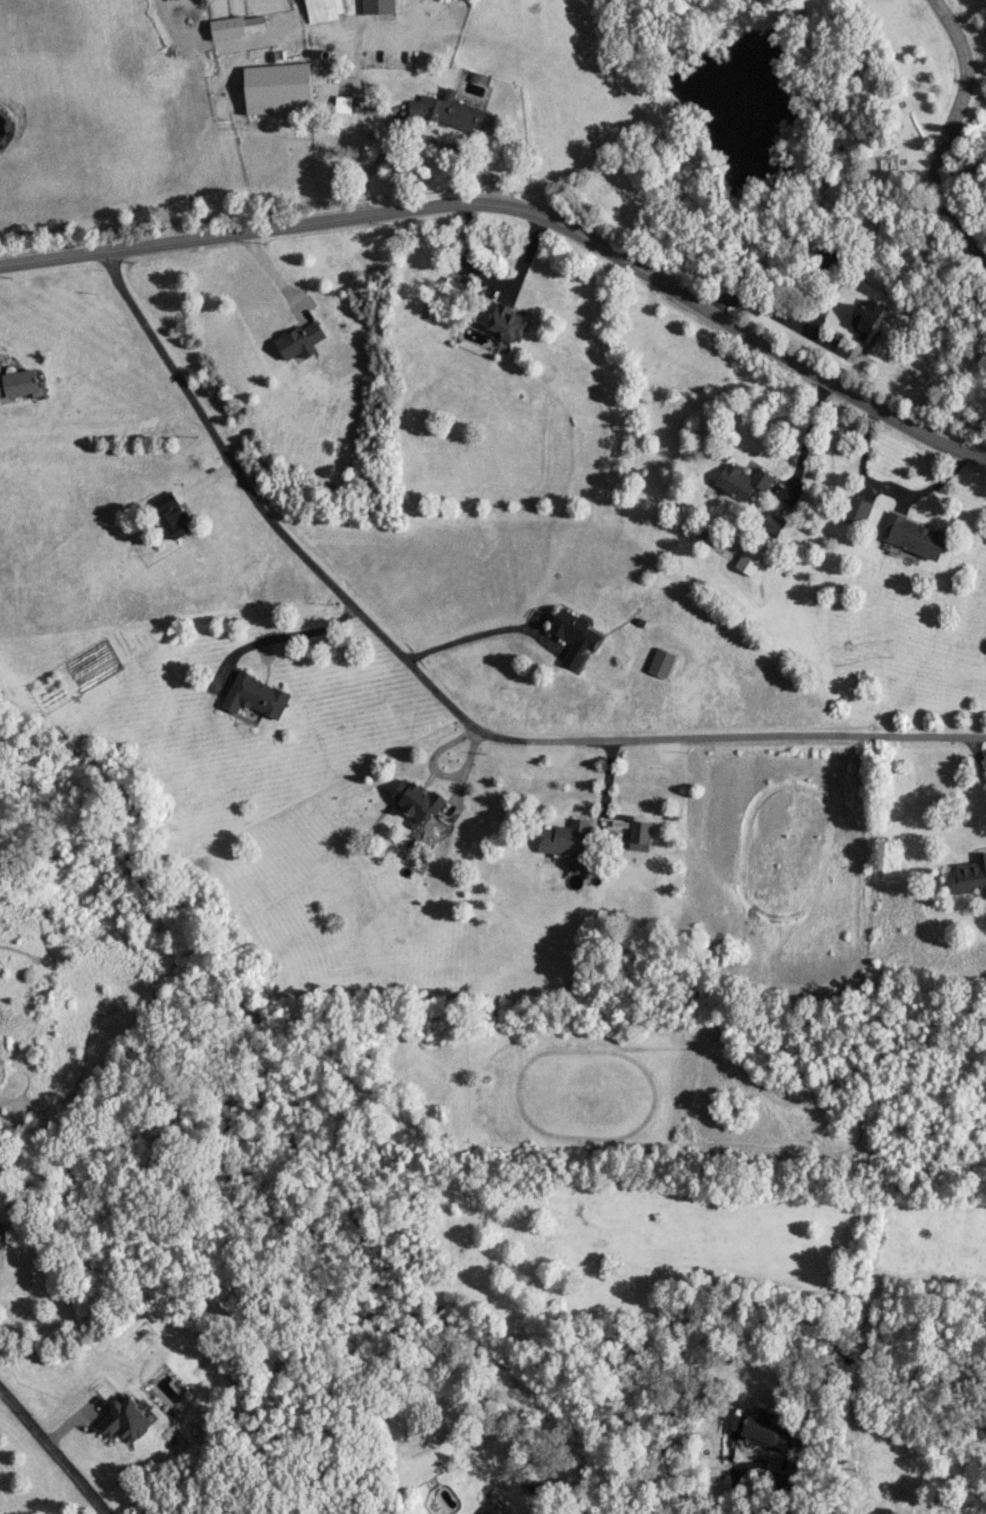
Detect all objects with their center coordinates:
building: (377, 6)
building: (323, 9)
building: (238, 26)
building: (276, 88)
road: (357, 90)
building: (452, 112)
road: (946, 133)
road: (435, 141)
road: (361, 198)
road: (522, 209)
road: (273, 277)
building: (454, 288)
road: (782, 309)
building: (867, 320)
building: (508, 323)
building: (300, 340)
building: (17, 383)
road: (808, 440)
building: (743, 481)
road: (884, 485)
building: (856, 510)
building: (173, 516)
building: (773, 524)
building: (913, 536)
building: (750, 559)
road: (479, 633)
building: (574, 635)
road: (283, 636)
building: (661, 662)
road: (441, 695)
building: (255, 696)
road: (977, 751)
building: (416, 802)
building: (639, 831)
building: (568, 840)
building: (970, 876)
building: (1, 1257)
building: (126, 1419)
building: (766, 1432)
road: (53, 1452)
road: (734, 1476)
building: (499, 1511)
building: (887, 1512)

